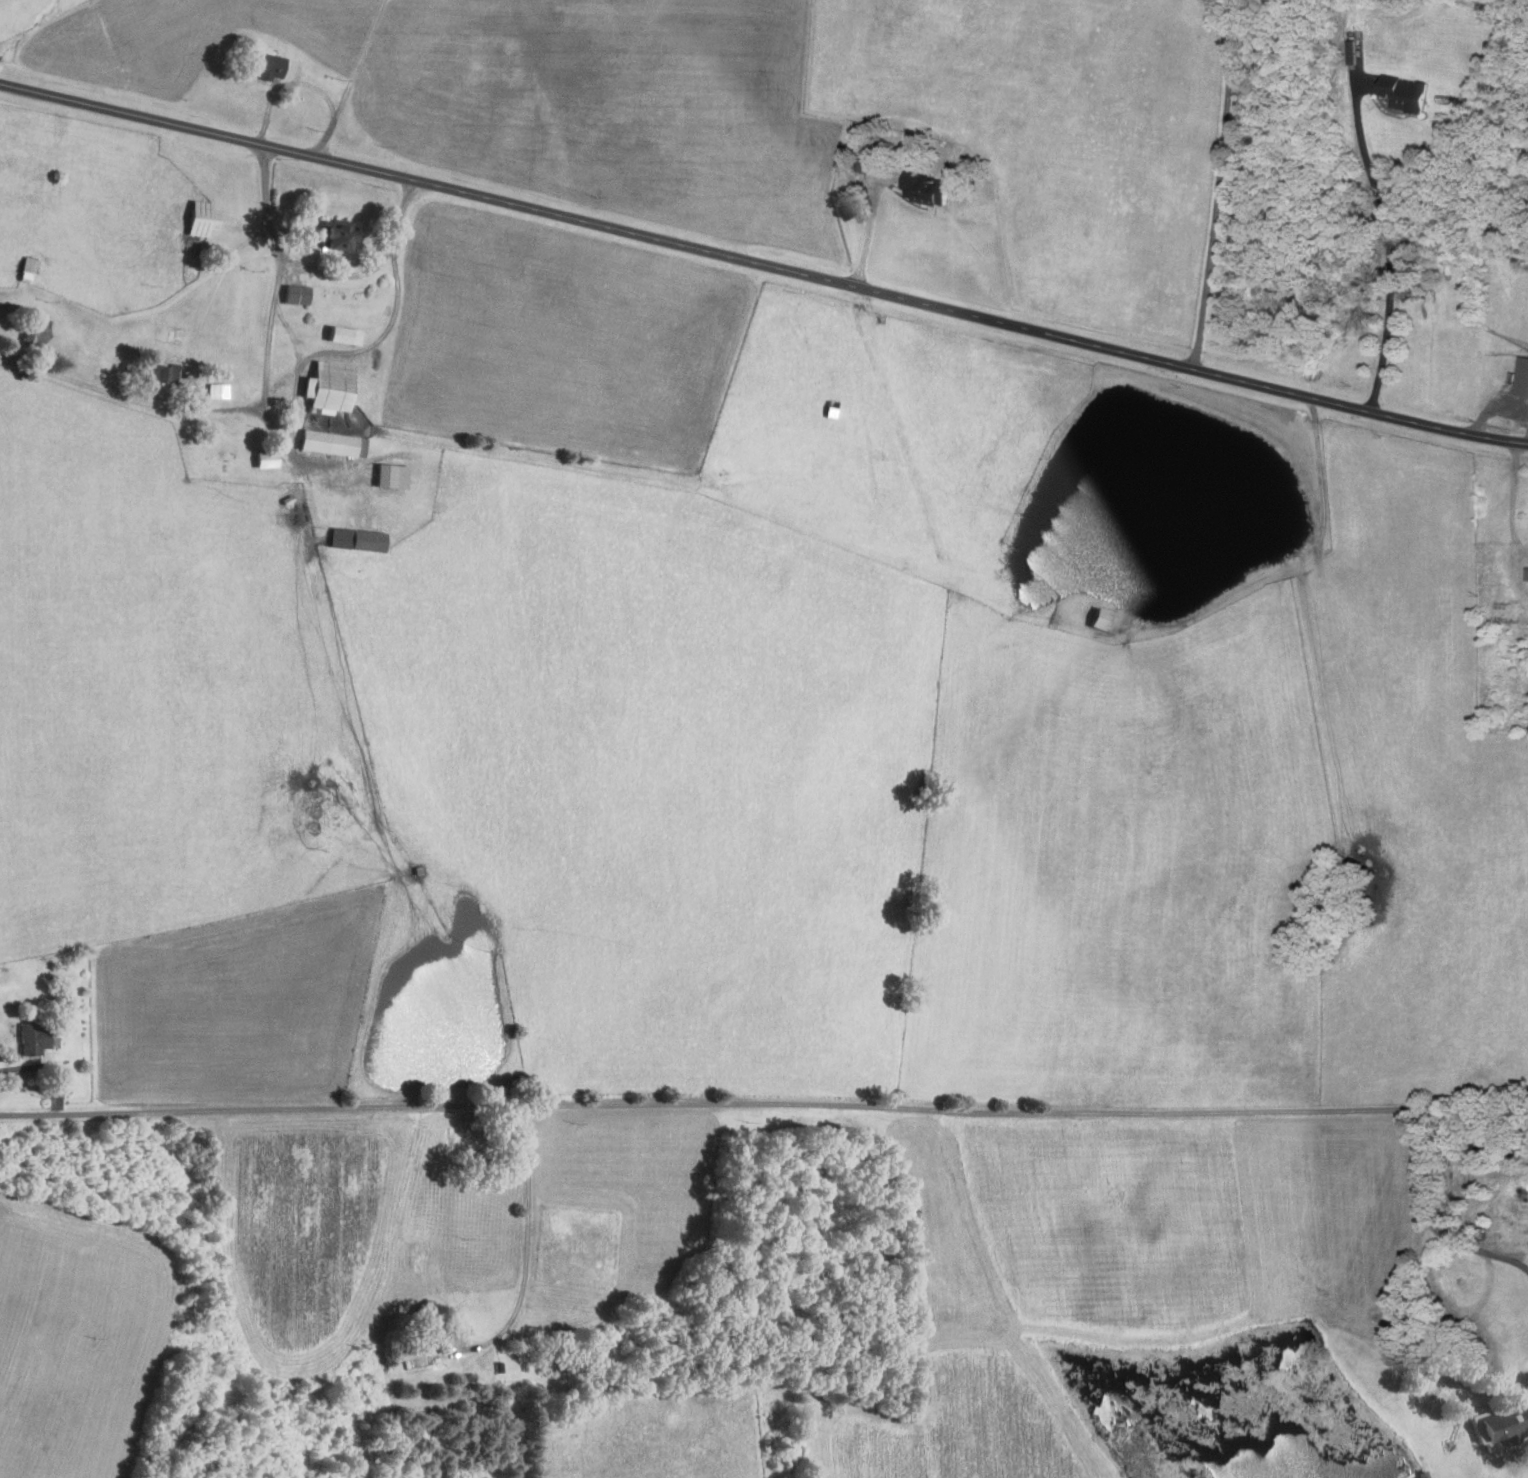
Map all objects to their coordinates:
building: (1353, 50)
building: (267, 64)
road: (349, 80)
road: (283, 84)
road: (1220, 183)
building: (929, 186)
building: (201, 217)
building: (336, 234)
road: (869, 234)
road: (1390, 247)
road: (764, 265)
road: (374, 266)
building: (296, 293)
building: (36, 329)
building: (344, 333)
building: (161, 372)
building: (1524, 377)
building: (329, 386)
building: (217, 389)
road: (260, 407)
road: (1494, 410)
building: (333, 442)
road: (295, 452)
building: (266, 458)
building: (392, 475)
road: (1514, 498)
building: (358, 538)
building: (1105, 619)
building: (33, 1037)
building: (65, 1082)
road: (820, 1103)
road: (527, 1238)
building: (1500, 1426)

